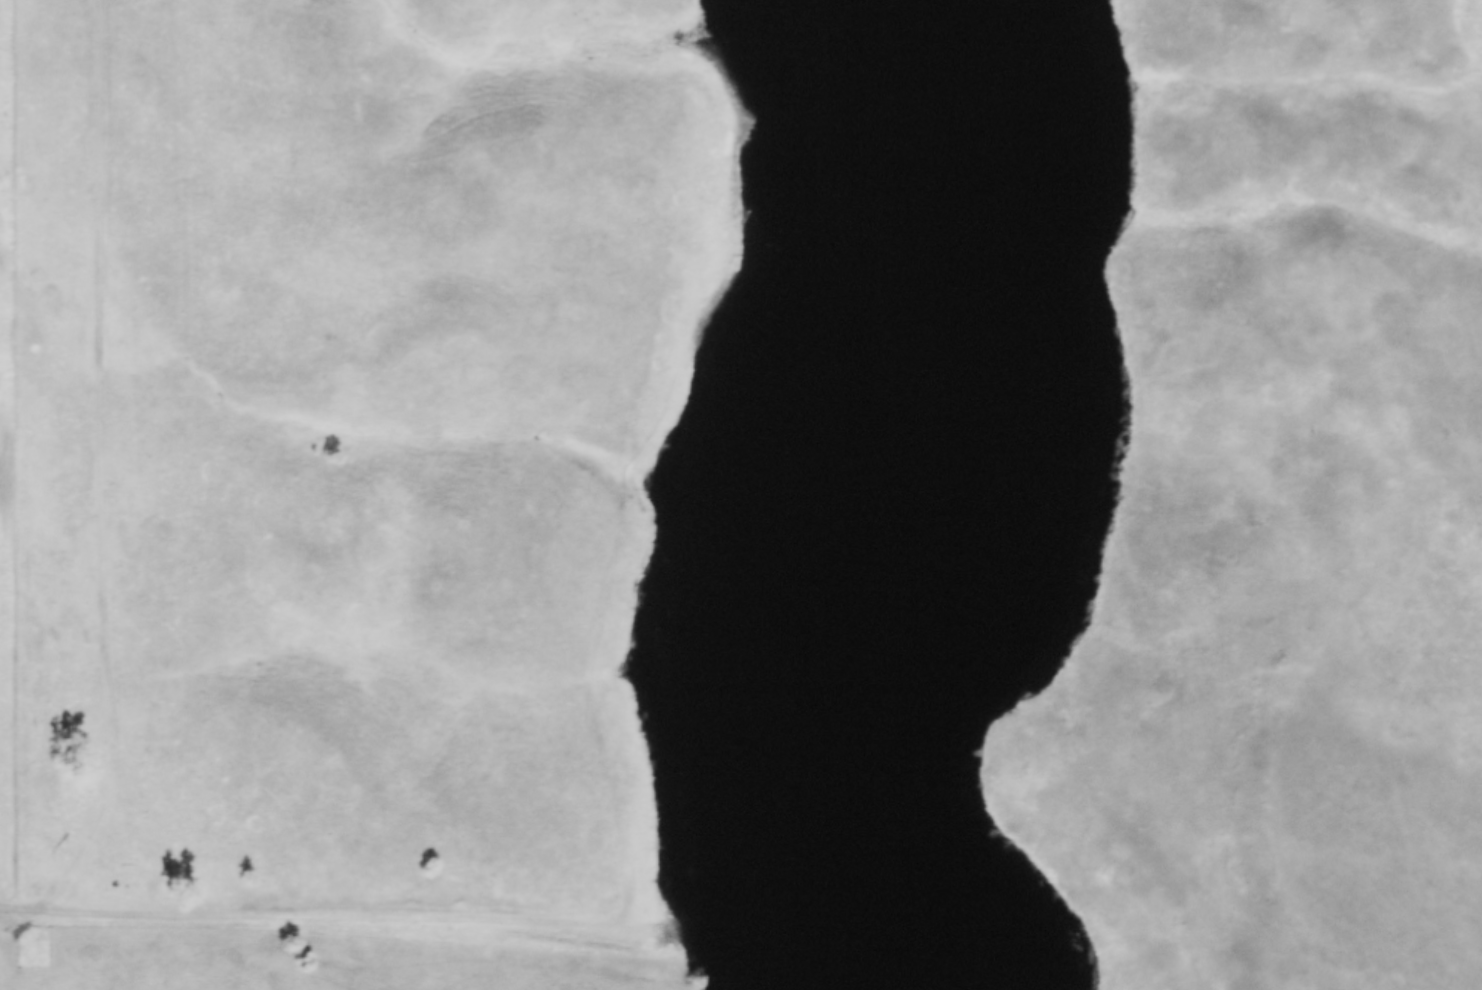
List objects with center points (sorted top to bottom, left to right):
road: (622, 910)

